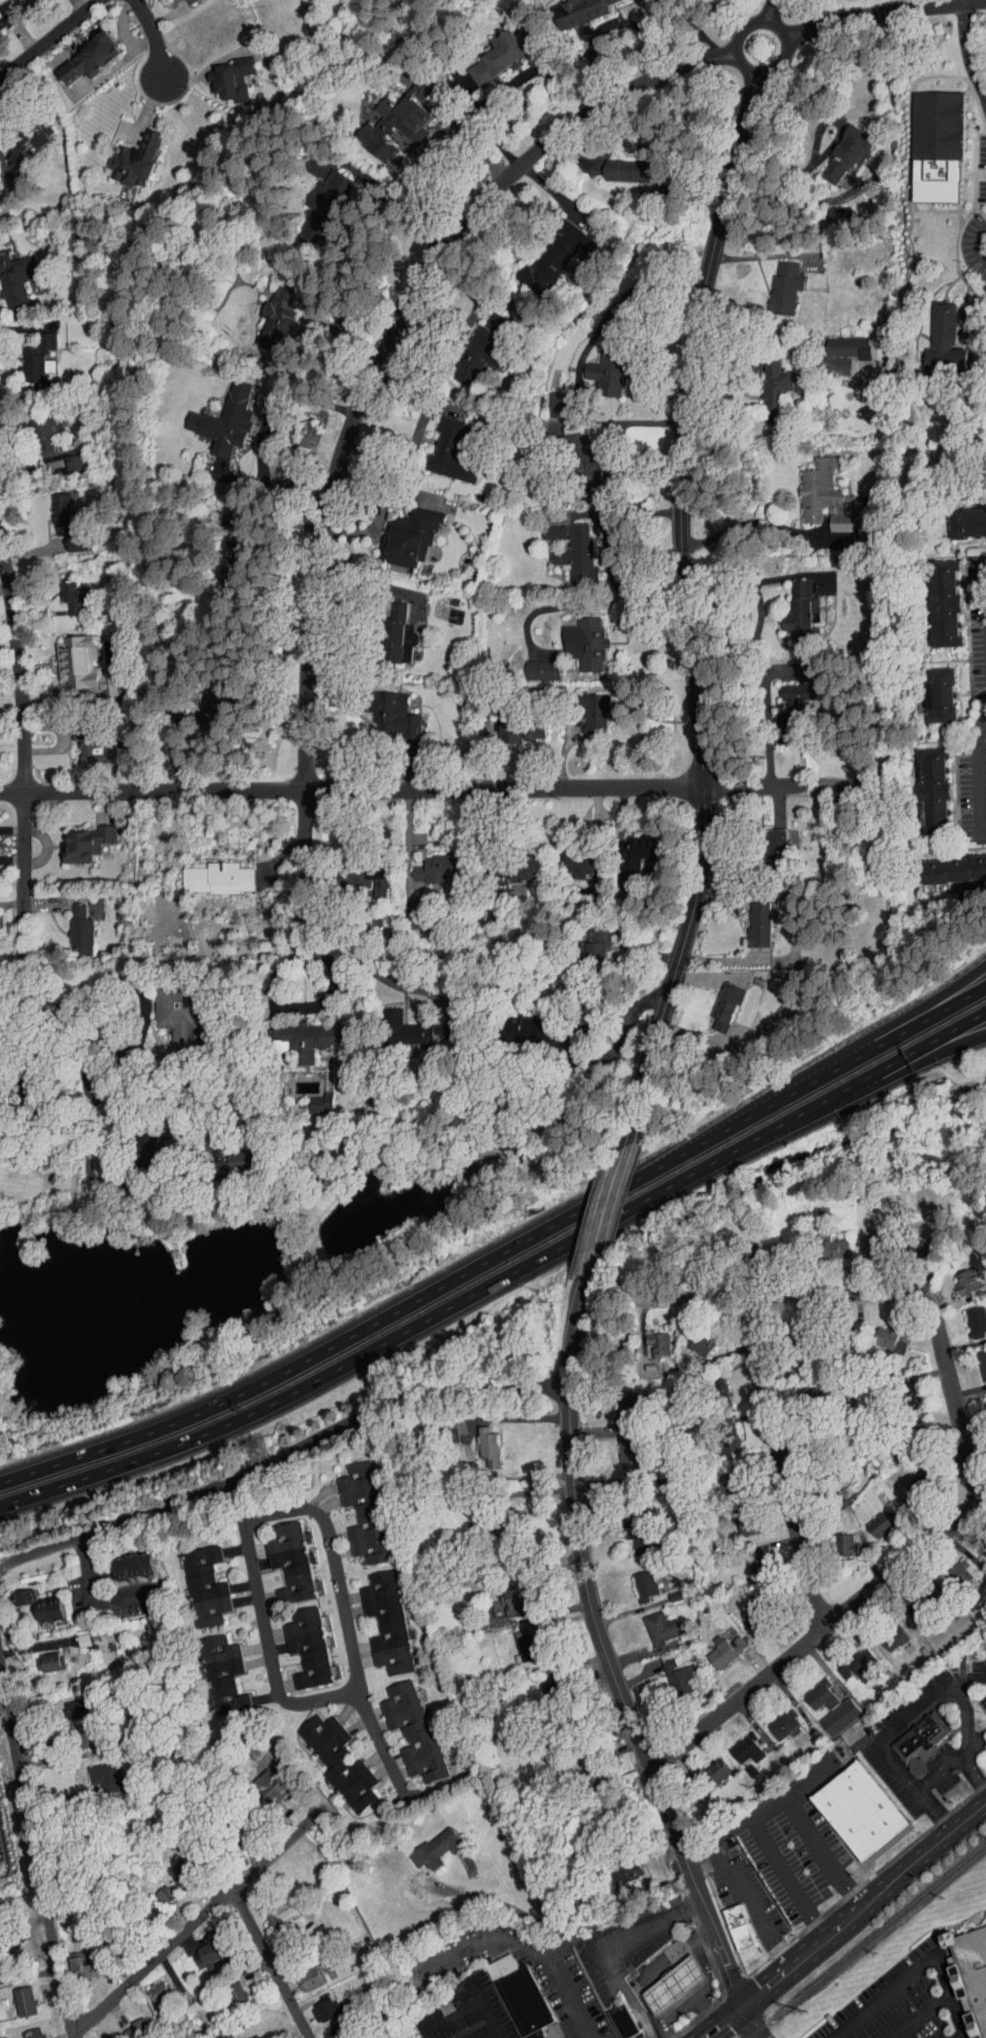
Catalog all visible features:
building: (570, 8)
road: (768, 10)
road: (883, 12)
road: (627, 25)
road: (44, 36)
road: (151, 36)
building: (493, 48)
building: (82, 51)
road: (971, 52)
road: (738, 63)
building: (223, 72)
building: (389, 115)
building: (7, 139)
building: (929, 140)
building: (840, 147)
building: (128, 154)
road: (429, 154)
building: (627, 161)
building: (316, 198)
building: (830, 210)
road: (404, 215)
road: (977, 243)
building: (543, 252)
building: (9, 278)
building: (775, 281)
road: (618, 300)
building: (267, 313)
road: (323, 334)
building: (935, 336)
building: (839, 341)
building: (473, 343)
building: (28, 352)
building: (600, 361)
building: (765, 383)
building: (547, 399)
building: (216, 415)
road: (359, 415)
building: (37, 429)
road: (255, 429)
road: (415, 433)
building: (440, 446)
building: (575, 451)
building: (64, 457)
building: (809, 482)
building: (833, 514)
building: (57, 517)
building: (963, 517)
road: (757, 524)
building: (544, 526)
building: (401, 530)
building: (568, 549)
road: (742, 574)
road: (379, 584)
building: (66, 592)
building: (937, 597)
road: (601, 603)
building: (790, 603)
road: (688, 611)
road: (7, 621)
building: (390, 628)
building: (576, 637)
building: (73, 660)
building: (532, 664)
road: (755, 672)
building: (789, 686)
building: (932, 689)
road: (9, 692)
building: (208, 703)
building: (385, 709)
building: (586, 711)
building: (511, 724)
road: (985, 738)
road: (21, 743)
building: (85, 743)
road: (982, 774)
building: (925, 781)
road: (441, 786)
building: (769, 836)
building: (79, 837)
building: (630, 847)
building: (570, 857)
building: (426, 863)
building: (517, 863)
building: (950, 863)
building: (208, 872)
building: (482, 908)
building: (410, 910)
building: (751, 918)
building: (71, 926)
building: (588, 938)
road: (792, 939)
road: (377, 971)
building: (717, 996)
building: (168, 1006)
road: (285, 1007)
road: (904, 1016)
building: (402, 1024)
road: (907, 1028)
building: (298, 1034)
road: (135, 1036)
road: (916, 1049)
road: (916, 1064)
road: (104, 1072)
road: (816, 1079)
road: (87, 1083)
building: (313, 1098)
road: (827, 1099)
building: (230, 1151)
road: (607, 1207)
building: (861, 1241)
building: (824, 1242)
building: (957, 1276)
road: (801, 1294)
road: (410, 1303)
building: (968, 1316)
road: (412, 1327)
building: (879, 1333)
building: (648, 1338)
building: (691, 1341)
building: (978, 1358)
building: (710, 1379)
road: (955, 1400)
building: (983, 1401)
building: (719, 1435)
building: (480, 1440)
building: (618, 1447)
road: (281, 1455)
road: (784, 1460)
building: (726, 1472)
building: (355, 1506)
building: (872, 1517)
building: (739, 1518)
building: (631, 1535)
building: (836, 1538)
building: (282, 1556)
building: (748, 1558)
building: (126, 1559)
road: (336, 1564)
building: (952, 1565)
building: (635, 1579)
building: (196, 1580)
building: (16, 1590)
road: (258, 1590)
road: (99, 1593)
building: (505, 1595)
building: (41, 1603)
building: (748, 1614)
building: (377, 1615)
building: (651, 1622)
road: (809, 1637)
building: (519, 1638)
building: (299, 1640)
building: (716, 1644)
road: (607, 1645)
building: (40, 1656)
building: (850, 1659)
building: (213, 1668)
building: (668, 1671)
building: (812, 1689)
building: (68, 1702)
building: (830, 1710)
road: (966, 1716)
building: (773, 1718)
road: (902, 1719)
building: (404, 1726)
building: (982, 1732)
building: (911, 1734)
building: (738, 1743)
road: (385, 1752)
building: (329, 1756)
building: (707, 1765)
building: (94, 1771)
building: (590, 1773)
road: (938, 1773)
road: (973, 1774)
building: (263, 1778)
road: (791, 1789)
road: (614, 1799)
building: (862, 1810)
road: (932, 1811)
road: (729, 1835)
building: (428, 1842)
road: (36, 1846)
road: (823, 1851)
building: (175, 1866)
road: (788, 1879)
building: (159, 1886)
road: (455, 1892)
road: (748, 1899)
building: (272, 1908)
road: (620, 1916)
road: (194, 1917)
building: (730, 1921)
road: (844, 1921)
railway: (866, 1940)
road: (484, 1943)
road: (273, 1959)
building: (78, 1961)
road: (657, 1966)
road: (705, 1970)
road: (30, 1973)
building: (301, 1973)
building: (971, 1974)
building: (664, 1978)
road: (902, 1984)
building: (227, 1987)
building: (149, 1988)
building: (512, 1992)
building: (15, 1994)
road: (570, 1998)
traffic signals: (746, 2002)
building: (321, 2003)
road: (470, 2005)
road: (686, 2005)
road: (957, 2015)
building: (617, 2016)
road: (921, 2016)
road: (752, 2020)
building: (129, 2024)
building: (325, 2028)
building: (25, 2030)
road: (75, 2031)
road: (490, 2035)
building: (93, 2036)
road: (961, 2036)

